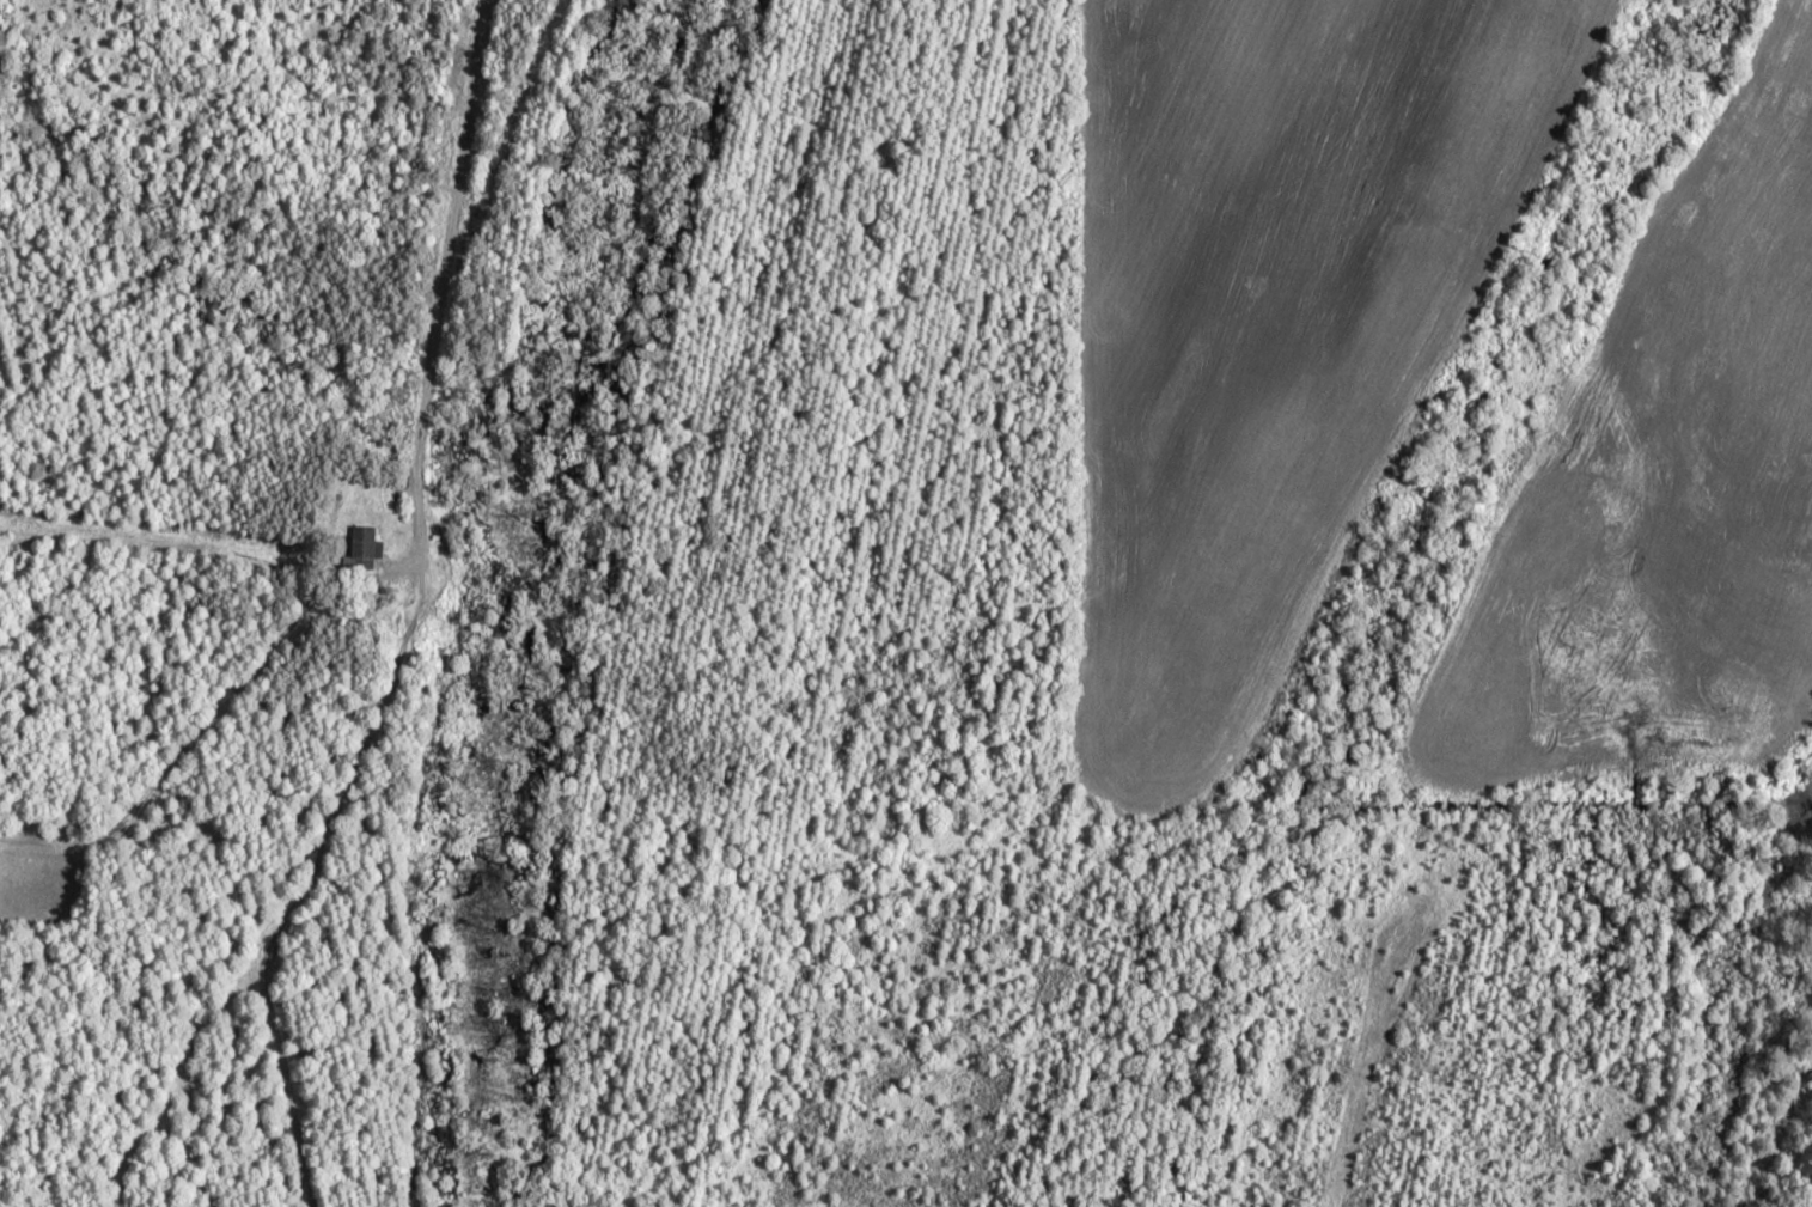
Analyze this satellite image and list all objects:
road: (444, 267)
building: (361, 548)

